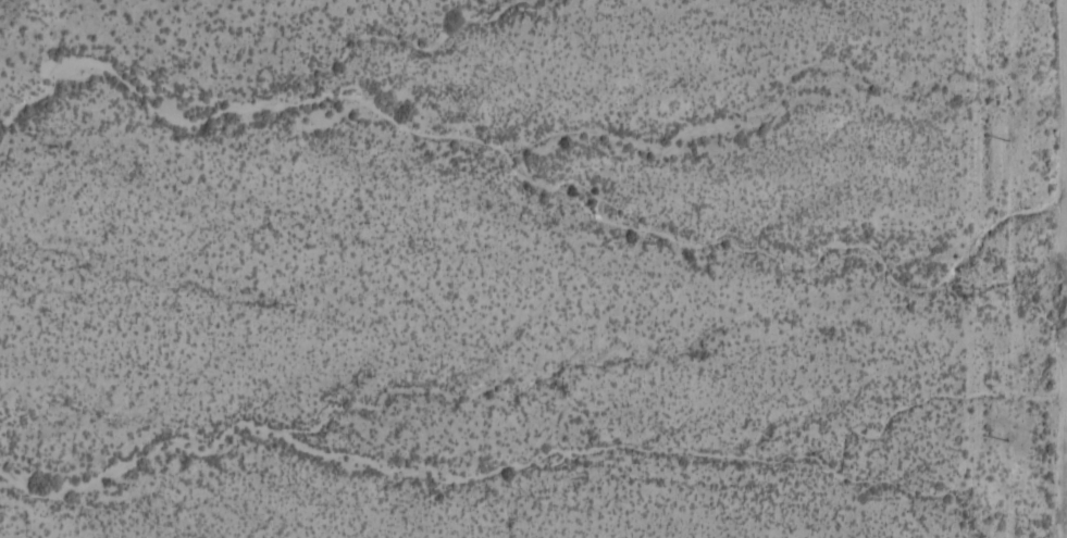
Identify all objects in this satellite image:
power tower: (1002, 138)
power tower: (1002, 441)

